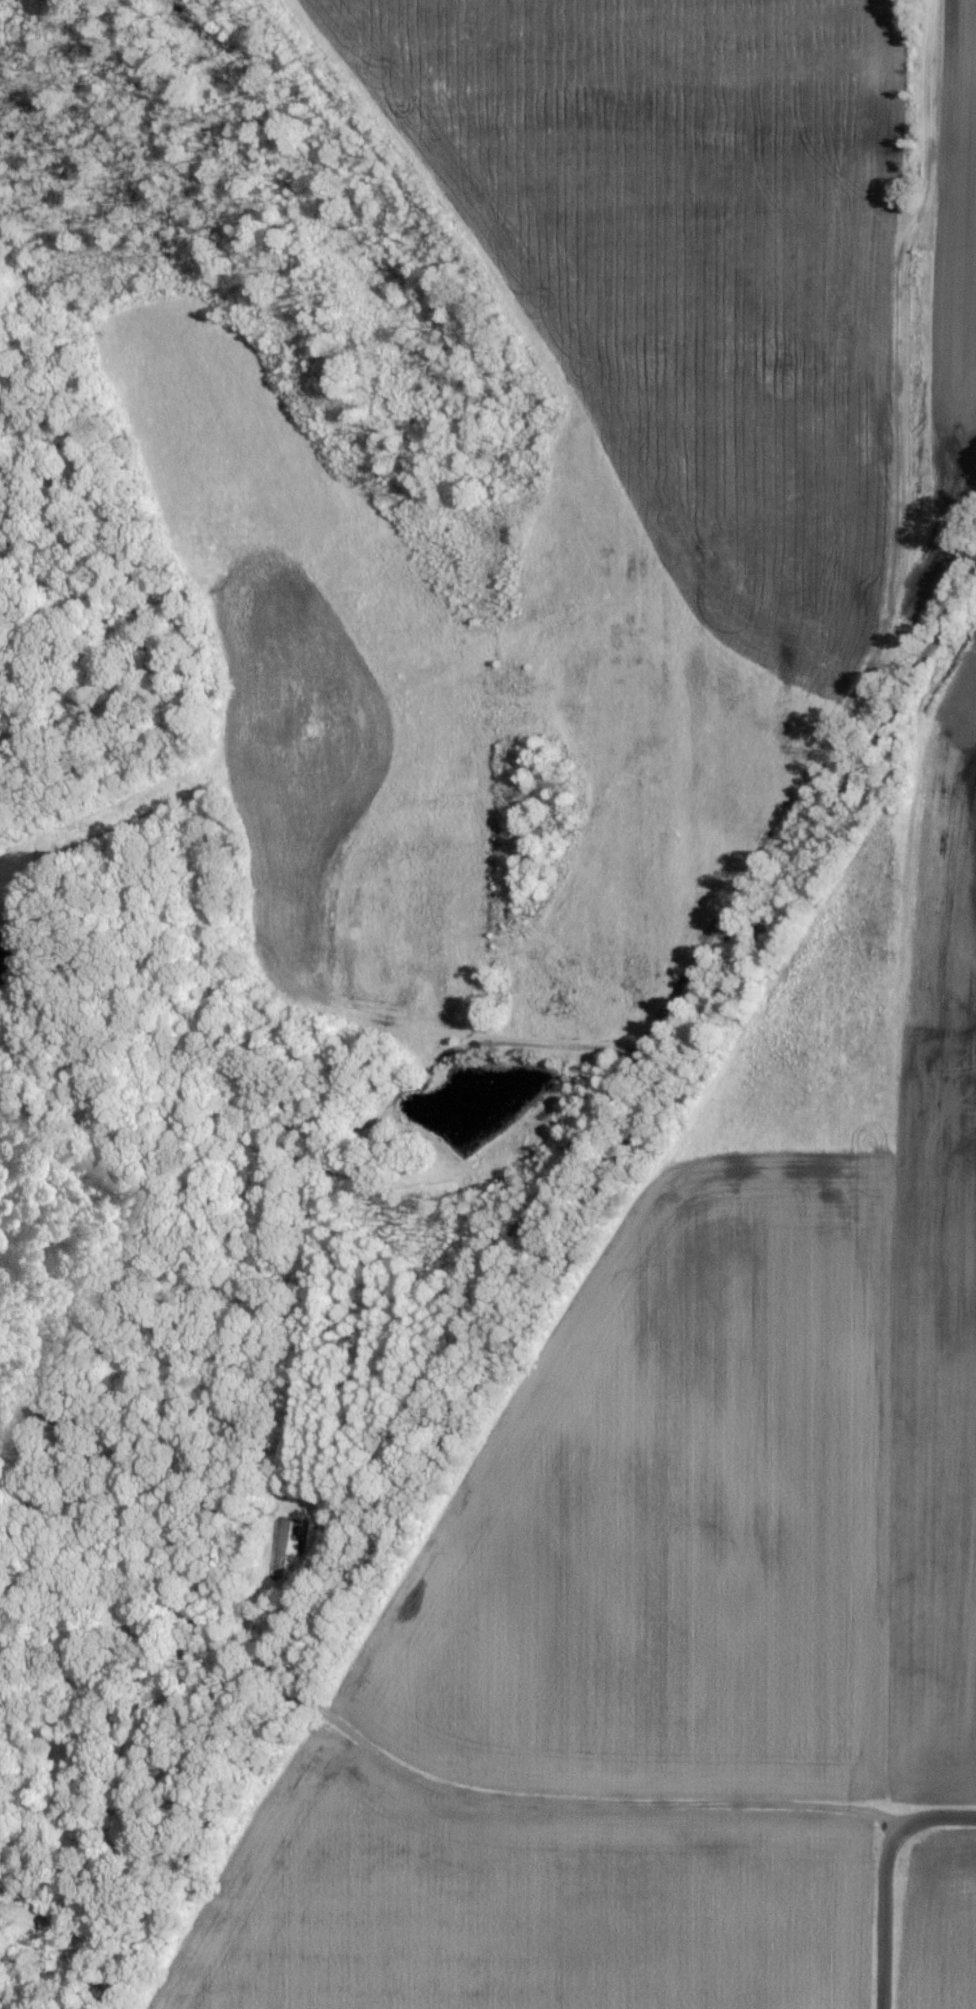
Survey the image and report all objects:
road: (879, 1877)

